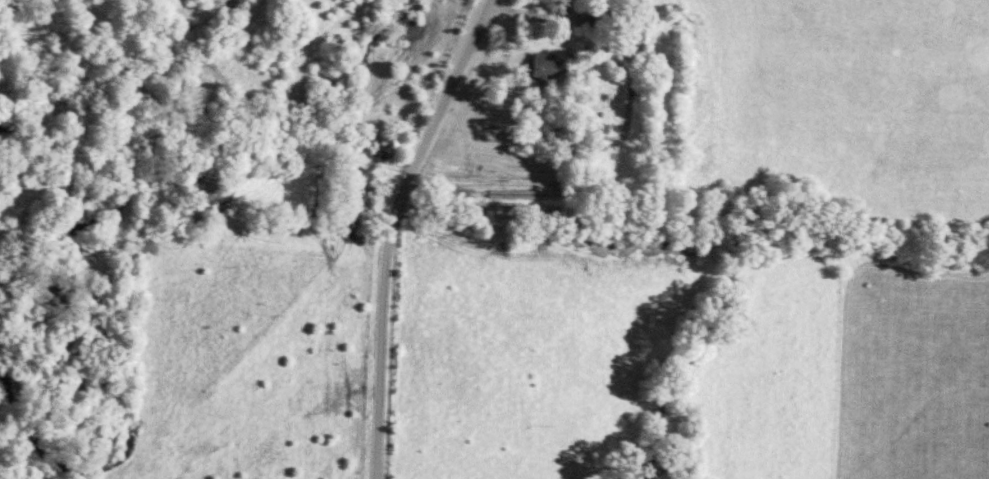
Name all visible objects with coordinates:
building: (546, 67)
building: (364, 146)
building: (390, 148)
road: (392, 229)

